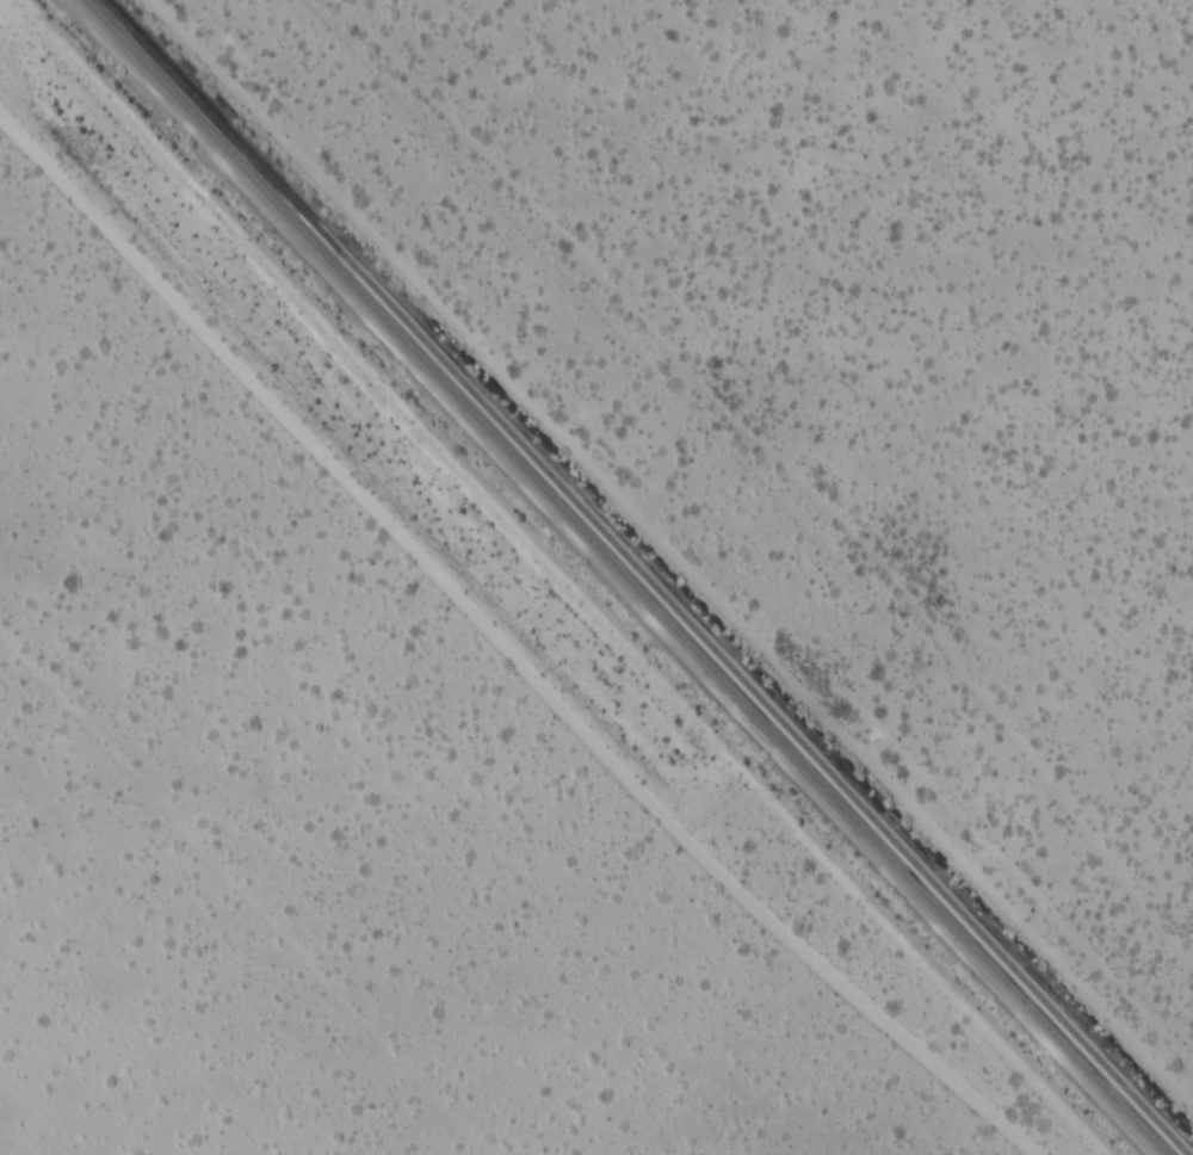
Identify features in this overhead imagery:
road: (785, 472)
road: (665, 567)
railway: (643, 576)
railway: (624, 577)
road: (499, 653)

